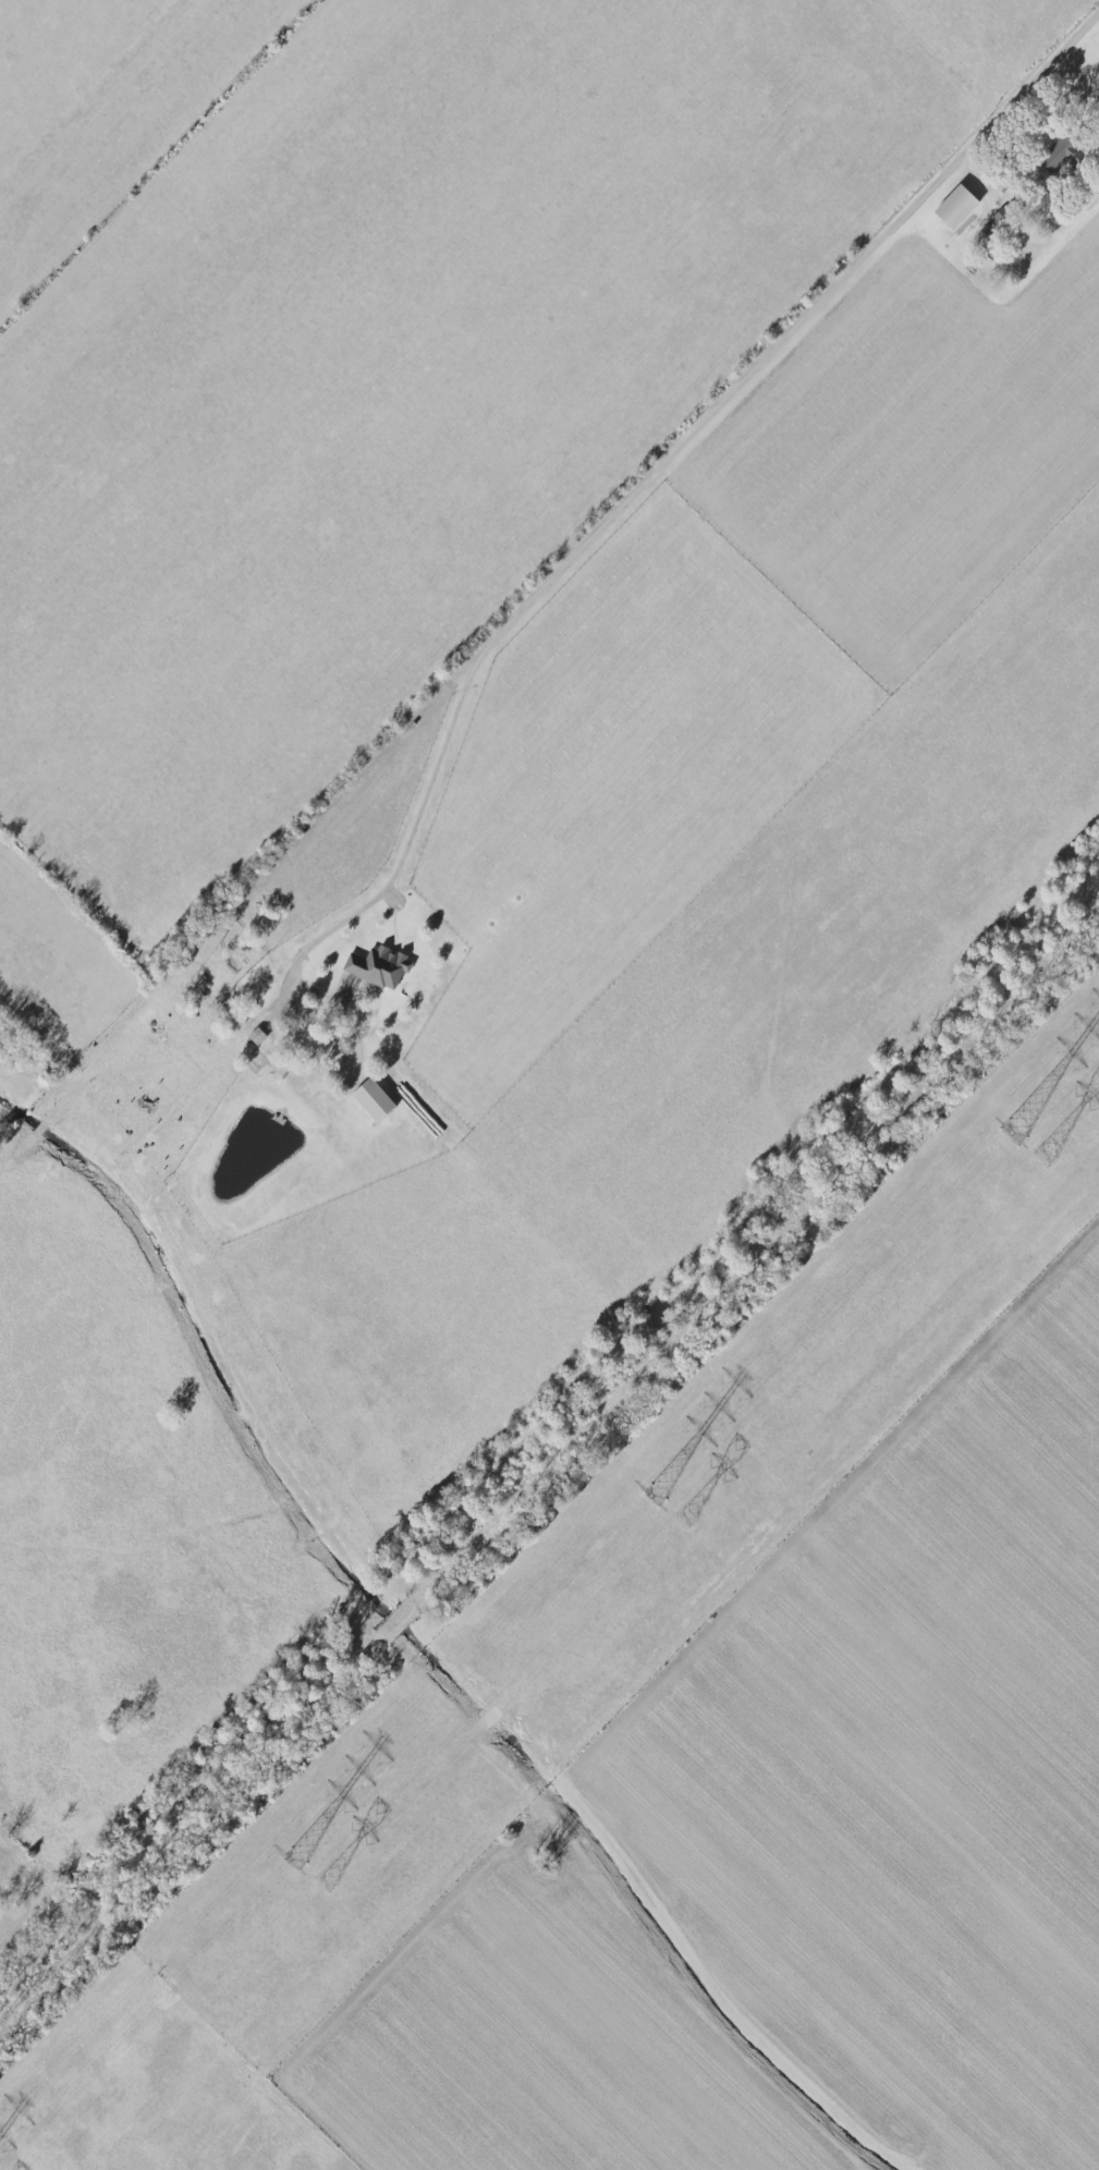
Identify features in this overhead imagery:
building: (1060, 155)
building: (955, 207)
building: (996, 222)
road: (699, 422)
building: (377, 966)
building: (373, 1099)
power tower: (1012, 1135)
power tower: (1043, 1156)
railway: (542, 1459)
power tower: (654, 1497)
power tower: (684, 1520)
power tower: (293, 1860)
power tower: (326, 1882)

